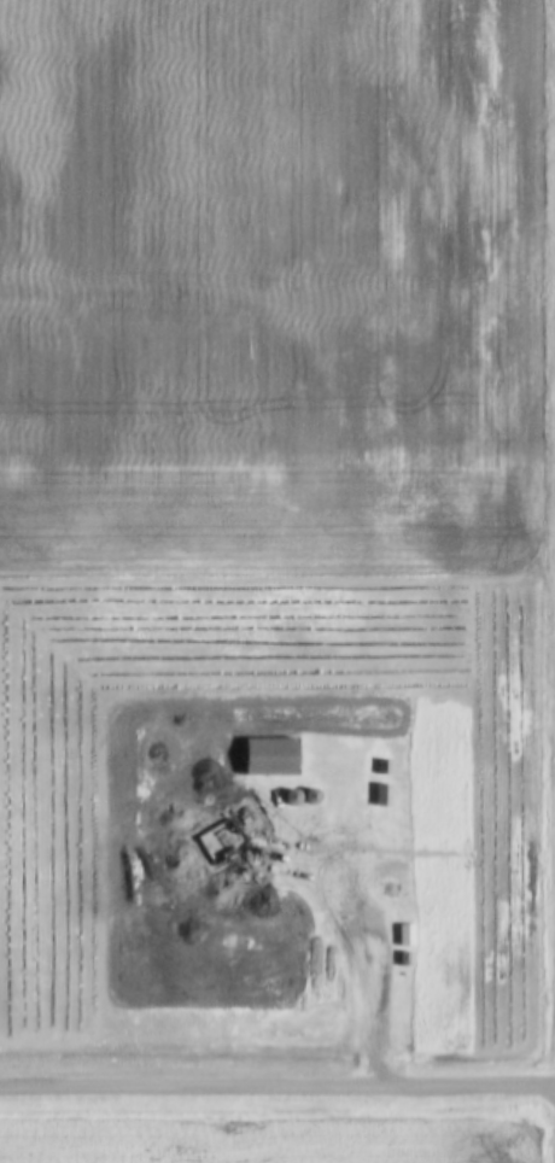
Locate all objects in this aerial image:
road: (384, 993)
road: (276, 1089)

